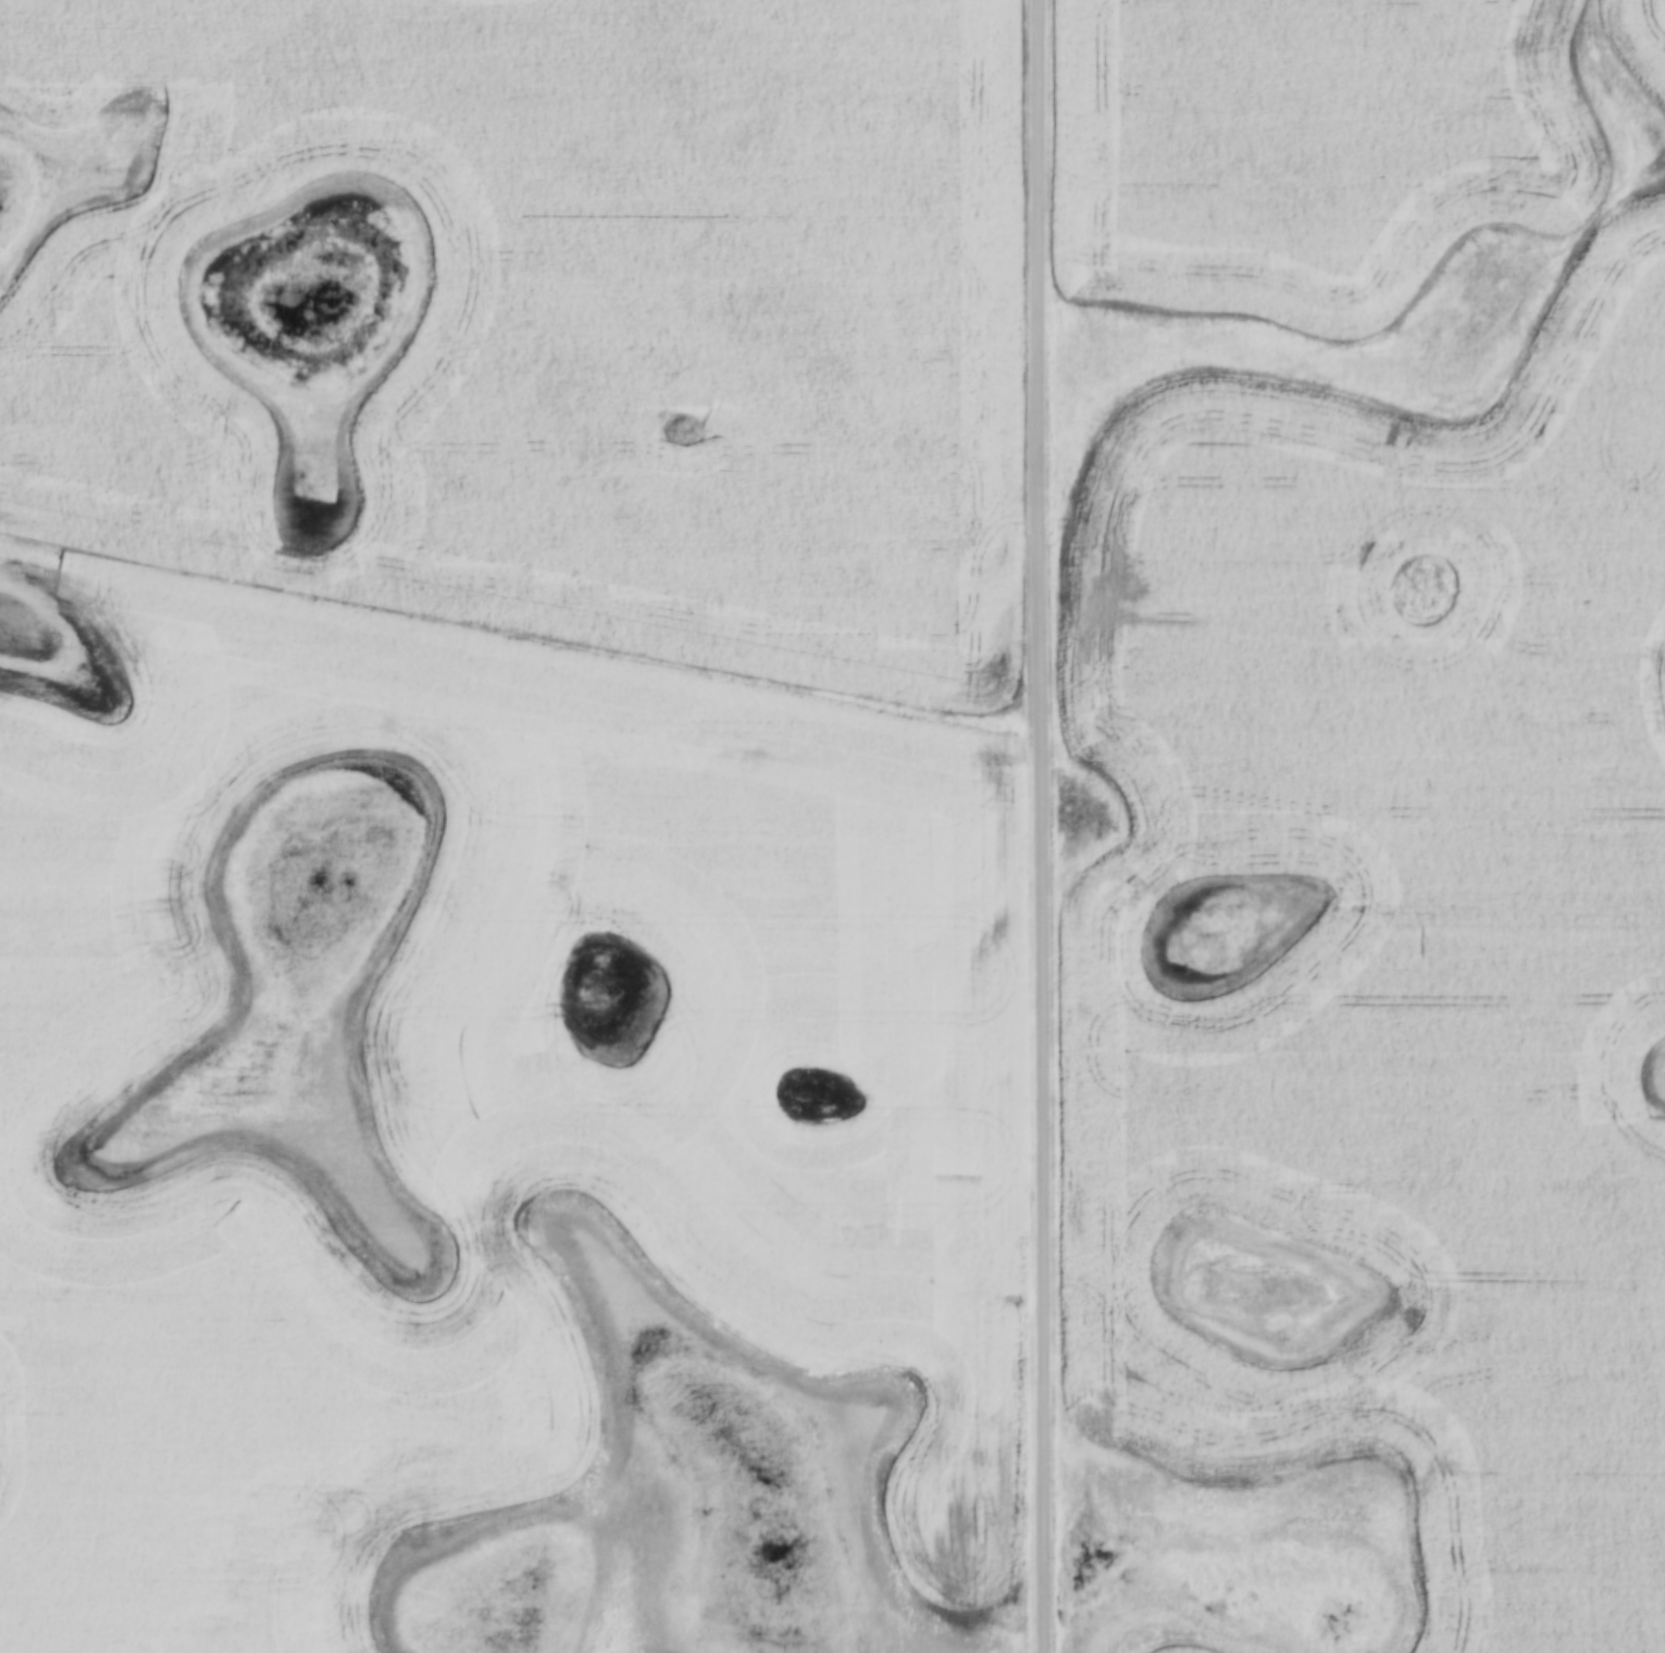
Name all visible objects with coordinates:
road: (1045, 826)

